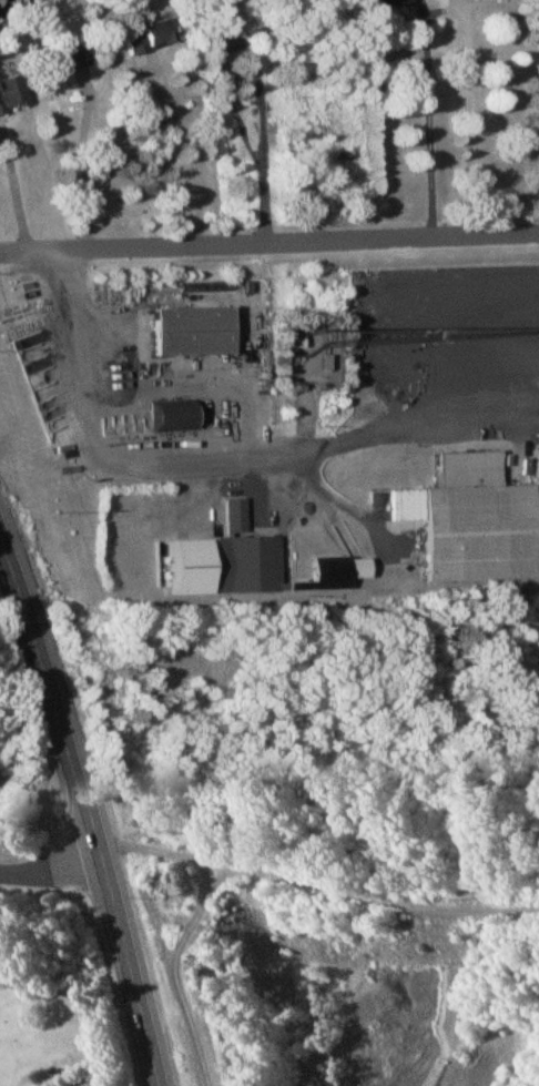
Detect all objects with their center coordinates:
building: (492, 0)
building: (387, 6)
road: (448, 16)
building: (142, 40)
building: (59, 69)
building: (9, 98)
building: (156, 131)
road: (252, 139)
road: (195, 150)
road: (87, 166)
road: (19, 187)
road: (268, 245)
building: (186, 336)
road: (225, 457)
building: (472, 527)
building: (537, 527)
building: (247, 560)
building: (187, 571)
building: (338, 576)
road: (85, 812)
road: (49, 872)
road: (316, 889)
road: (174, 971)

